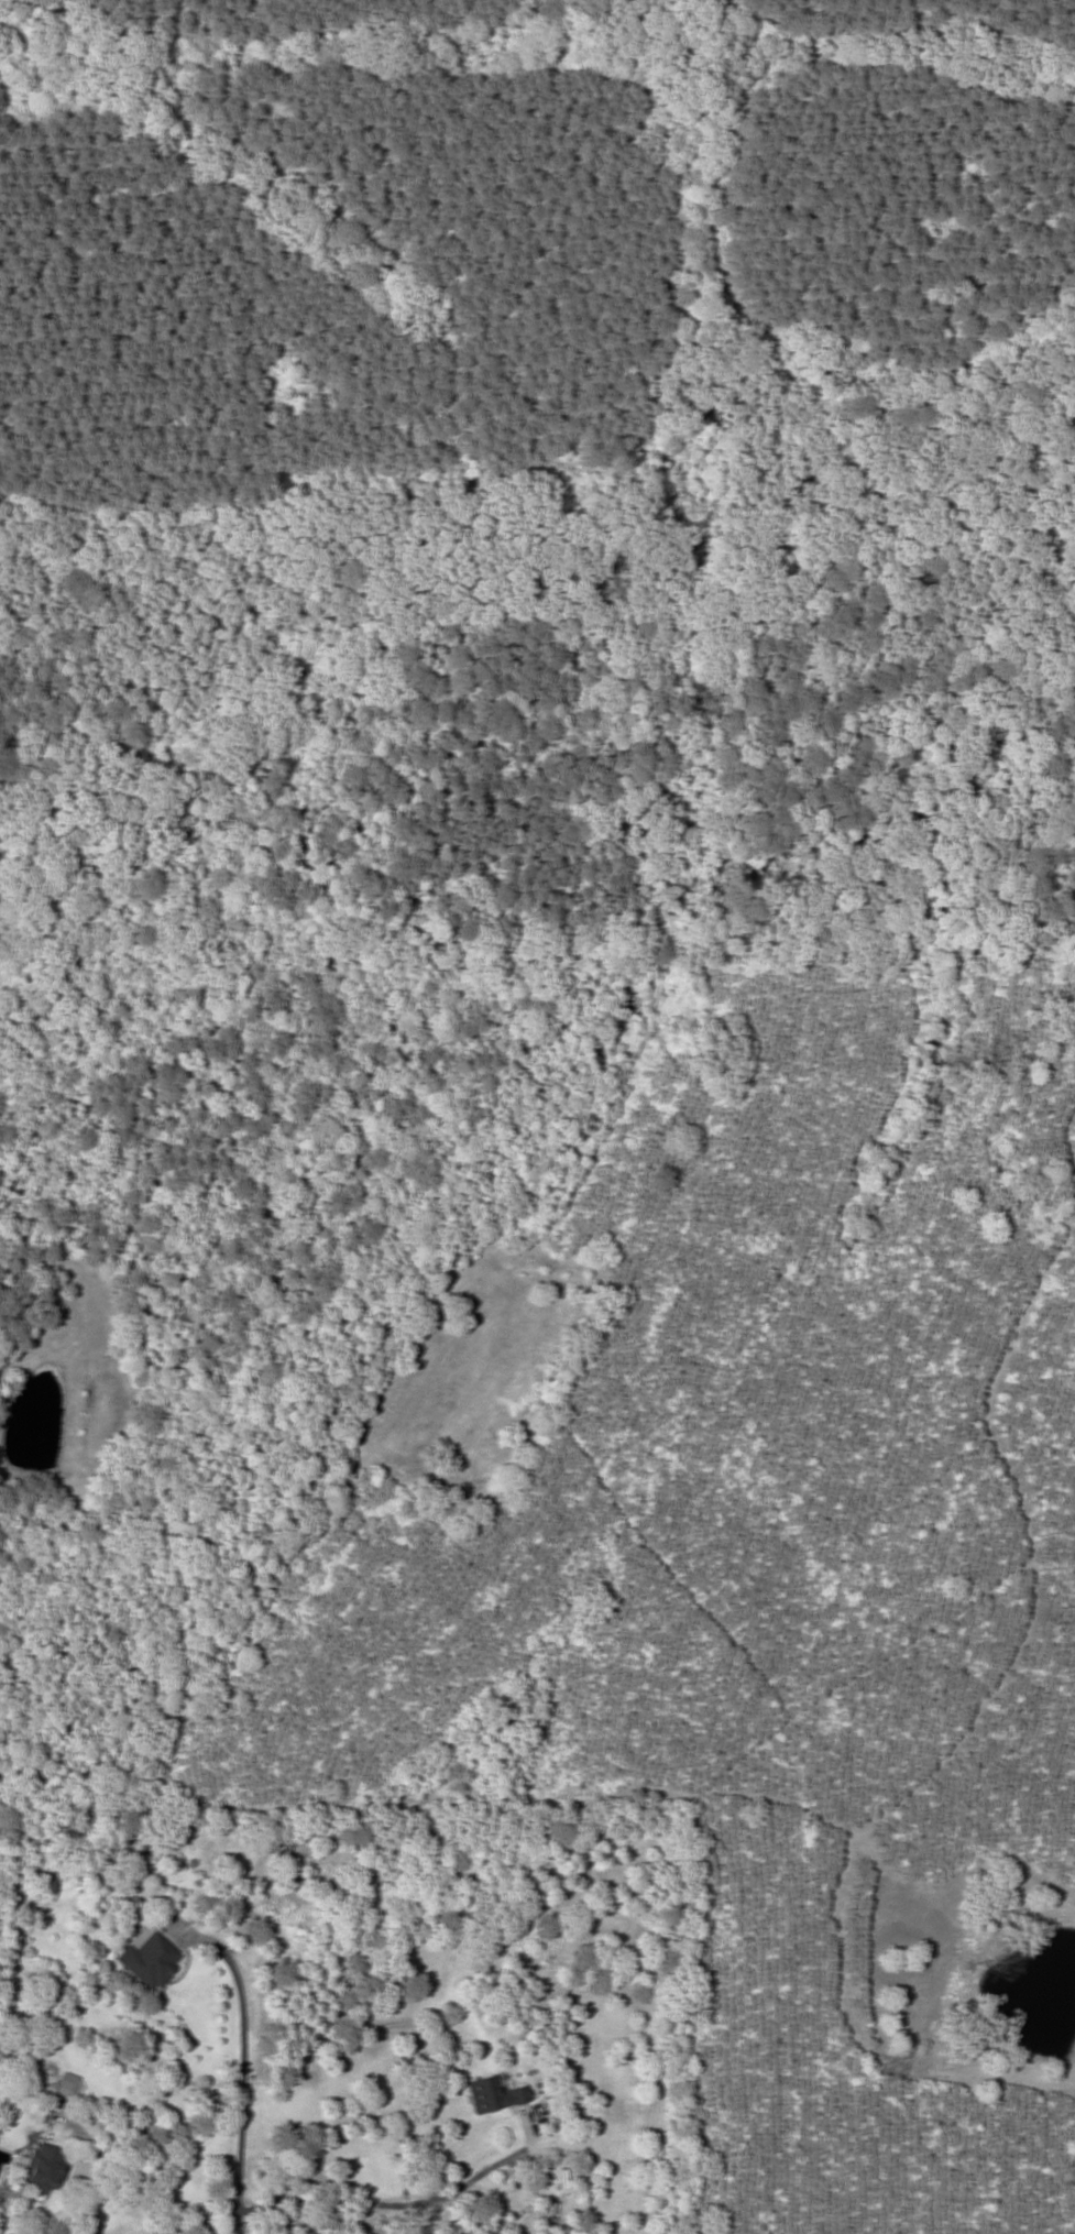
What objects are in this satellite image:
building: (206, 1902)
building: (149, 1960)
road: (241, 2062)
building: (65, 2089)
building: (494, 2094)
building: (41, 2169)
road: (134, 2175)

